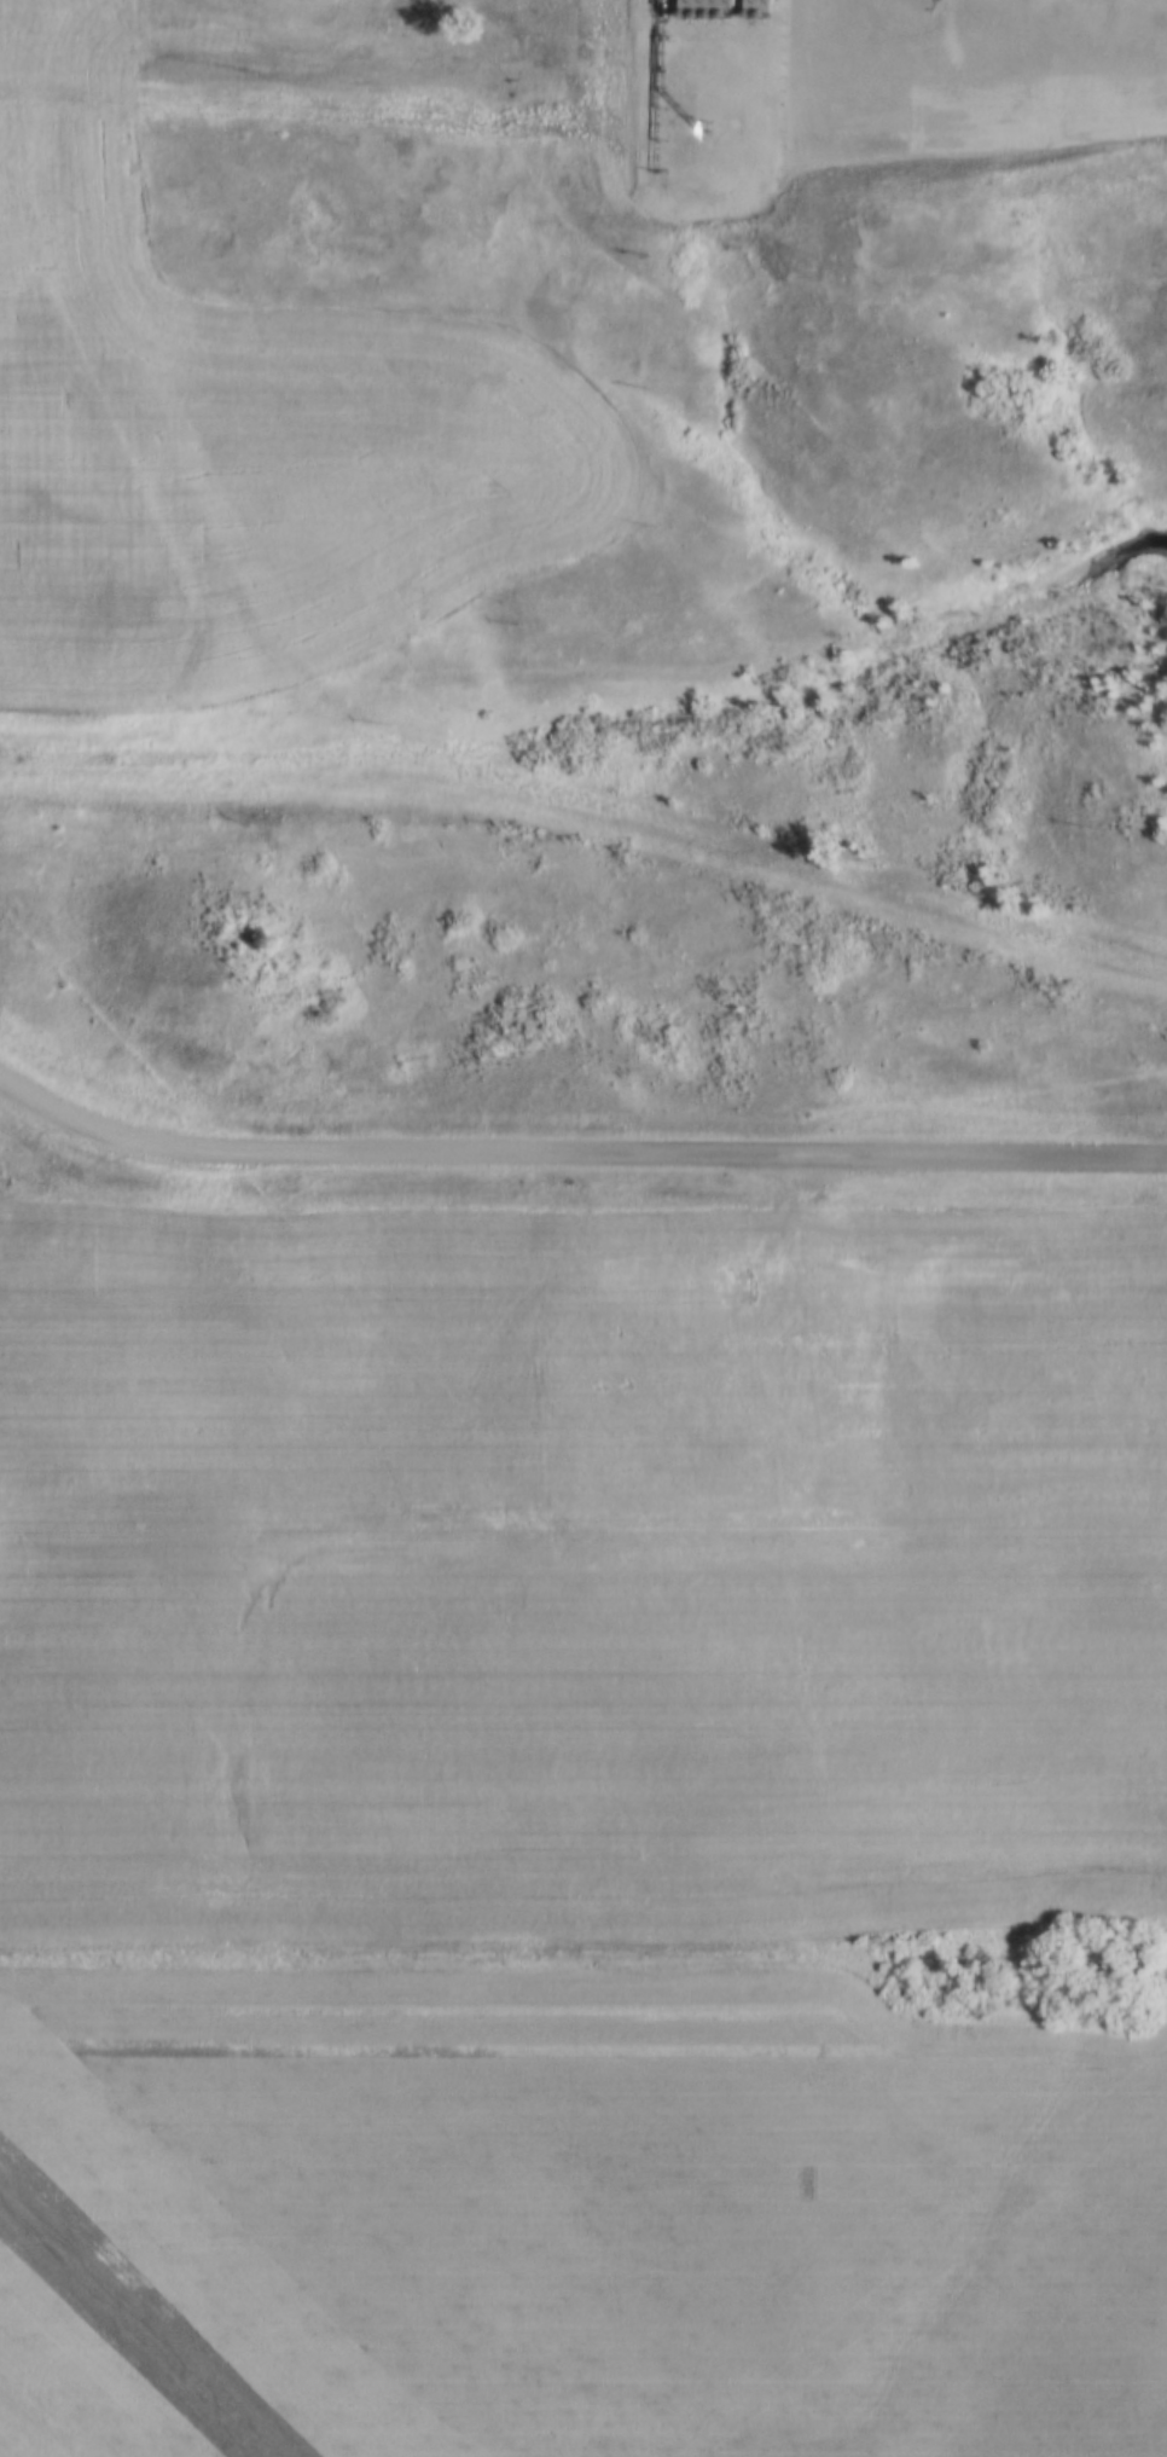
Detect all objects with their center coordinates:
road: (575, 1161)

